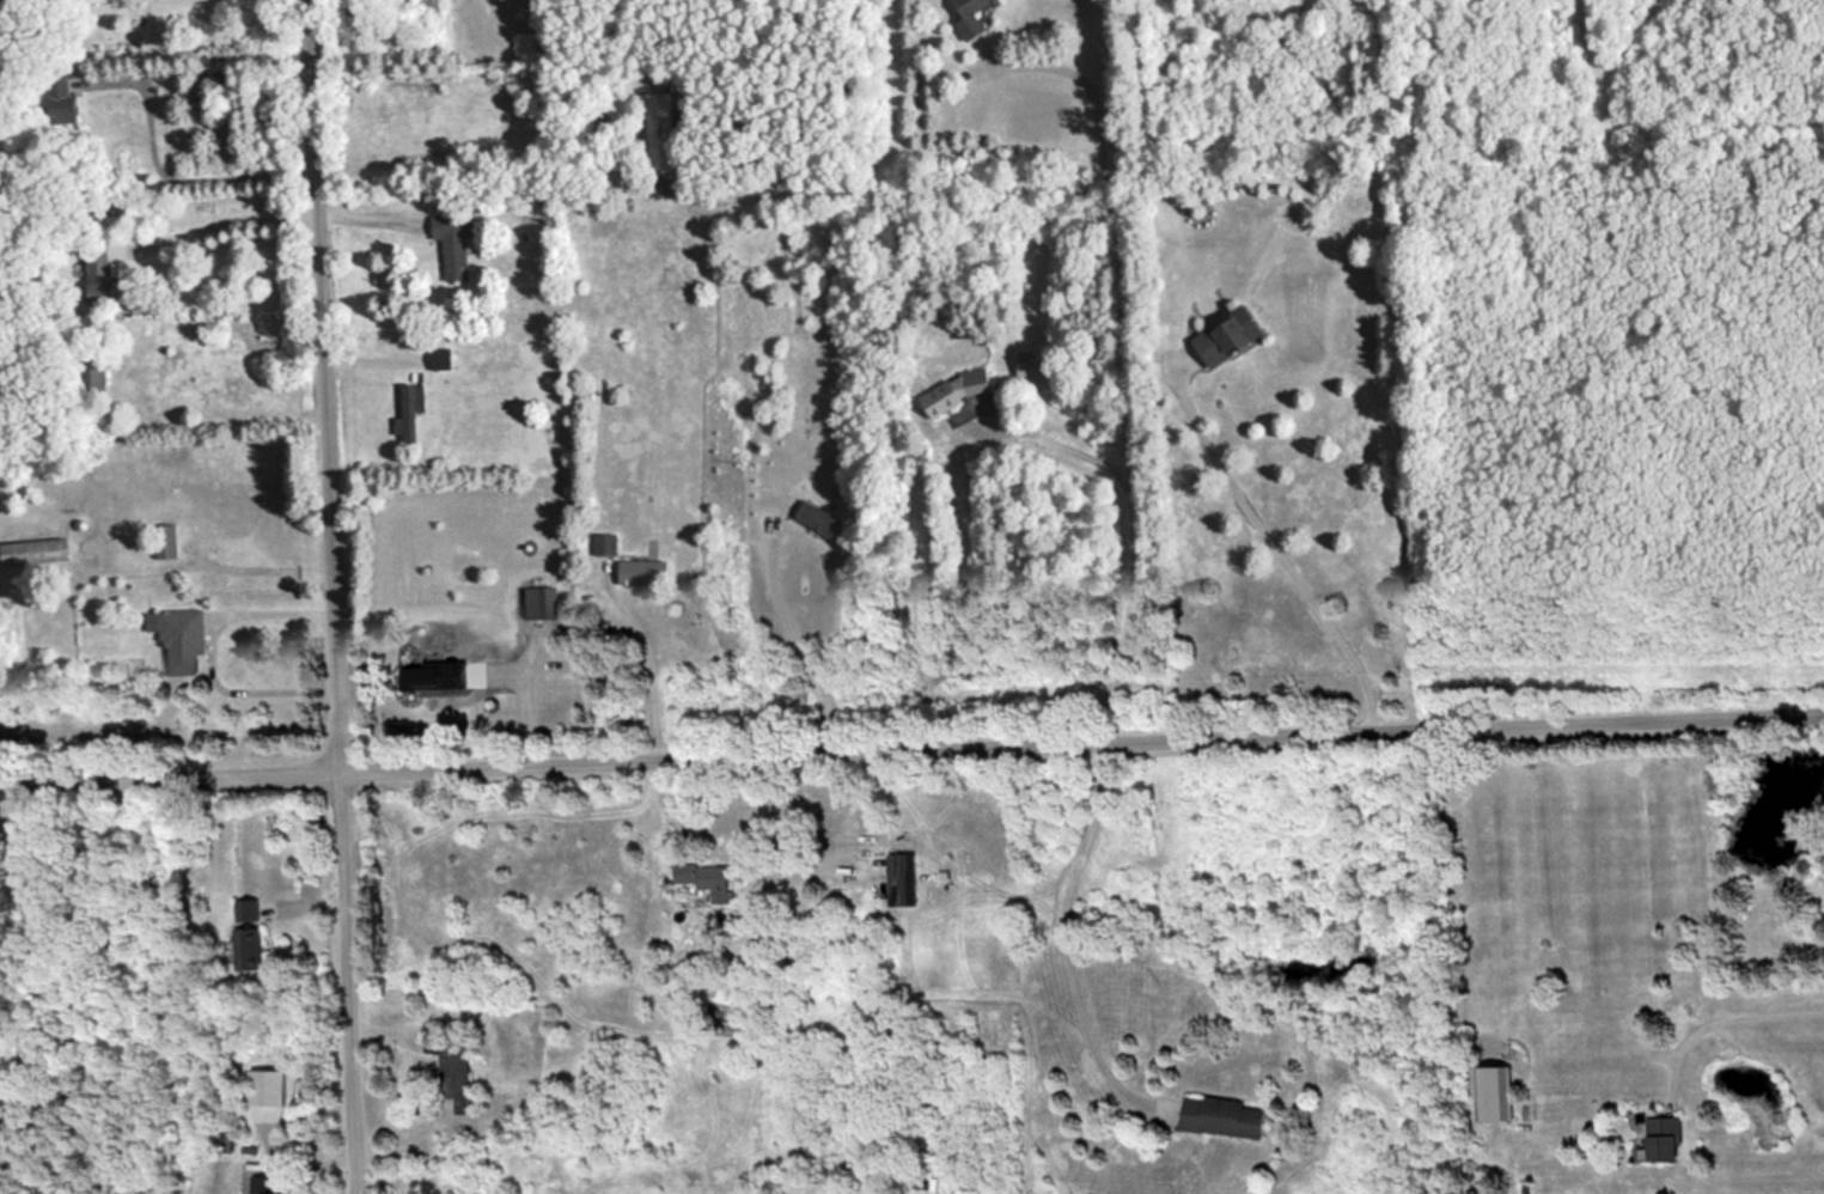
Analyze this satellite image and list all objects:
building: (971, 17)
building: (63, 100)
building: (661, 130)
road: (474, 151)
road: (165, 172)
road: (237, 220)
building: (456, 242)
building: (103, 272)
building: (1230, 334)
building: (441, 358)
building: (1032, 363)
road: (1125, 363)
building: (94, 373)
building: (959, 389)
building: (410, 409)
road: (1067, 447)
building: (819, 516)
building: (169, 540)
building: (606, 542)
road: (1274, 544)
building: (36, 550)
building: (643, 571)
road: (338, 596)
building: (548, 601)
road: (800, 641)
road: (209, 645)
building: (420, 676)
road: (911, 747)
road: (776, 818)
building: (709, 876)
building: (904, 877)
road: (1066, 927)
building: (251, 932)
road: (23, 970)
road: (1738, 1015)
building: (459, 1067)
building: (269, 1084)
building: (1496, 1091)
building: (1227, 1115)
building: (1661, 1137)
building: (266, 1183)

